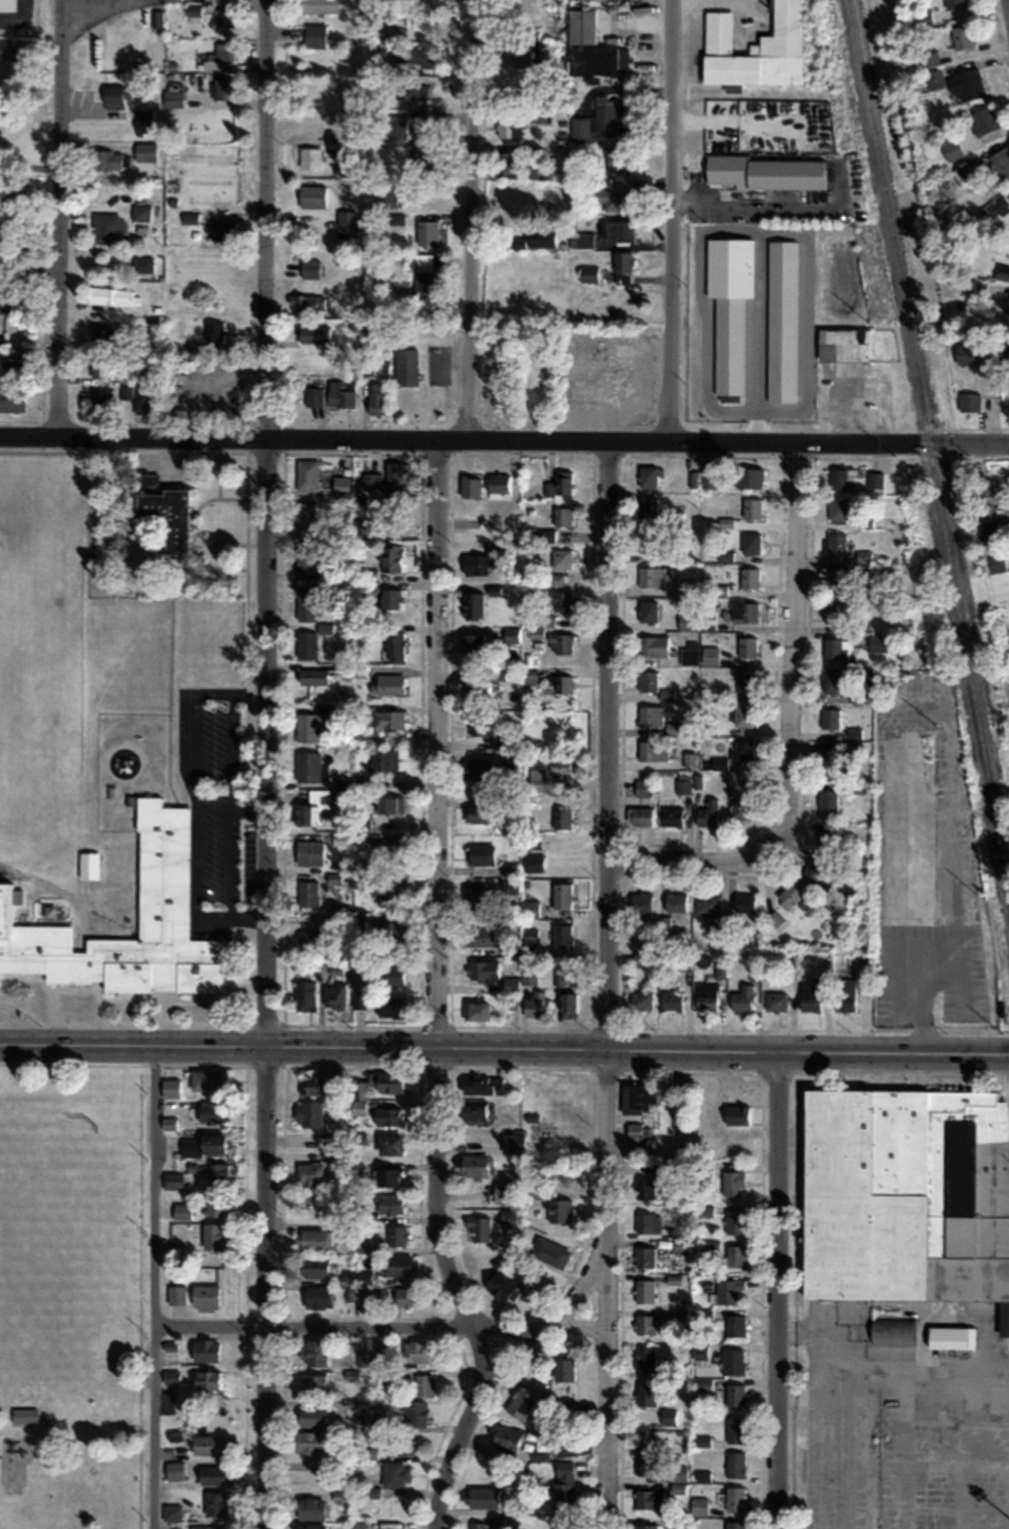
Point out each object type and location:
building: (954, 3)
building: (6, 5)
building: (318, 6)
road: (1007, 8)
building: (192, 13)
building: (156, 18)
building: (225, 18)
power tower: (815, 18)
building: (922, 18)
building: (580, 26)
building: (314, 35)
building: (960, 37)
building: (751, 49)
building: (8, 50)
building: (517, 52)
building: (416, 55)
building: (217, 56)
building: (929, 59)
building: (597, 60)
building: (956, 84)
building: (221, 88)
building: (415, 92)
building: (114, 97)
building: (172, 98)
building: (604, 115)
building: (391, 117)
building: (984, 120)
building: (144, 121)
building: (509, 127)
building: (950, 149)
building: (4, 152)
power tower: (839, 152)
building: (145, 154)
building: (422, 157)
building: (309, 158)
building: (617, 158)
building: (108, 161)
building: (507, 161)
building: (1001, 162)
building: (763, 173)
building: (12, 192)
building: (311, 196)
building: (385, 199)
building: (615, 199)
building: (998, 208)
building: (141, 212)
road: (60, 217)
building: (396, 219)
road: (468, 219)
road: (669, 219)
building: (346, 224)
building: (106, 229)
building: (221, 230)
building: (615, 231)
building: (426, 232)
building: (535, 239)
building: (580, 239)
building: (728, 268)
building: (310, 269)
building: (619, 269)
building: (1002, 272)
building: (587, 274)
building: (423, 276)
building: (976, 292)
building: (112, 297)
building: (4, 301)
building: (302, 303)
building: (1007, 308)
power tower: (869, 323)
building: (214, 332)
building: (313, 334)
building: (104, 338)
building: (842, 344)
building: (1005, 353)
building: (975, 354)
building: (405, 366)
building: (102, 367)
building: (14, 368)
building: (341, 393)
building: (312, 396)
building: (536, 398)
building: (12, 399)
building: (144, 399)
building: (375, 399)
building: (102, 402)
building: (969, 402)
road: (504, 439)
street lamp: (43, 448)
railway: (929, 451)
street lamp: (586, 454)
street lamp: (774, 454)
power tower: (892, 455)
street lamp: (278, 456)
street lamp: (447, 457)
building: (307, 474)
building: (394, 474)
building: (649, 476)
building: (747, 477)
building: (702, 478)
building: (842, 478)
building: (874, 480)
building: (371, 481)
building: (498, 483)
building: (559, 483)
building: (340, 486)
building: (470, 486)
road: (246, 504)
building: (647, 506)
building: (751, 507)
building: (837, 508)
building: (561, 516)
building: (167, 518)
building: (306, 519)
road: (264, 521)
building: (361, 526)
building: (990, 528)
building: (646, 542)
building: (750, 542)
building: (835, 543)
building: (677, 553)
building: (305, 555)
building: (863, 556)
building: (391, 557)
building: (561, 557)
building: (480, 560)
building: (650, 576)
building: (749, 577)
building: (555, 578)
building: (835, 578)
building: (684, 585)
building: (390, 598)
building: (558, 599)
building: (306, 602)
building: (472, 604)
building: (647, 611)
building: (744, 612)
building: (833, 612)
building: (696, 620)
building: (508, 635)
road: (791, 639)
building: (877, 641)
building: (472, 642)
building: (559, 642)
building: (306, 644)
building: (393, 645)
building: (746, 645)
building: (652, 646)
building: (835, 646)
building: (688, 655)
building: (709, 655)
building: (497, 674)
building: (312, 676)
building: (527, 676)
building: (647, 680)
building: (745, 680)
building: (830, 681)
building: (563, 683)
building: (386, 684)
building: (474, 687)
building: (858, 693)
road: (248, 694)
building: (666, 694)
building: (649, 715)
building: (743, 715)
building: (829, 717)
building: (388, 718)
building: (312, 726)
power tower: (937, 726)
building: (673, 728)
building: (487, 734)
building: (652, 749)
building: (741, 749)
building: (383, 758)
building: (690, 760)
building: (828, 761)
building: (721, 763)
building: (308, 765)
building: (559, 765)
building: (476, 768)
building: (536, 779)
building: (697, 780)
building: (682, 782)
building: (642, 787)
road: (202, 795)
building: (388, 803)
building: (827, 803)
building: (312, 805)
building: (741, 807)
road: (248, 810)
building: (477, 812)
building: (707, 813)
parking lot: (215, 814)
building: (640, 815)
building: (670, 816)
building: (561, 818)
building: (349, 837)
building: (825, 837)
building: (531, 842)
building: (388, 848)
building: (309, 851)
building: (906, 851)
building: (479, 854)
building: (532, 862)
road: (696, 862)
building: (508, 869)
building: (817, 874)
building: (847, 880)
building: (509, 886)
building: (384, 888)
building: (308, 892)
building: (560, 894)
building: (788, 894)
building: (477, 897)
power tower: (980, 897)
building: (744, 901)
building: (640, 902)
building: (675, 902)
building: (162, 904)
building: (708, 904)
building: (529, 908)
road: (207, 915)
road: (249, 918)
road: (434, 918)
building: (648, 927)
building: (390, 929)
building: (310, 936)
building: (478, 936)
building: (562, 936)
building: (530, 940)
building: (640, 958)
building: (682, 962)
building: (302, 968)
building: (482, 969)
building: (388, 974)
building: (529, 976)
road: (606, 984)
building: (511, 992)
building: (843, 994)
building: (304, 995)
building: (705, 996)
building: (809, 997)
building: (336, 998)
building: (742, 998)
building: (640, 1000)
building: (671, 1000)
building: (774, 1001)
building: (534, 1003)
building: (567, 1003)
building: (388, 1006)
building: (475, 1010)
power tower: (1004, 1033)
road: (133, 1041)
road: (637, 1047)
building: (207, 1079)
building: (385, 1081)
building: (482, 1084)
building: (319, 1085)
building: (169, 1087)
building: (471, 1110)
building: (210, 1111)
building: (308, 1112)
building: (736, 1114)
building: (387, 1115)
building: (636, 1134)
building: (513, 1141)
building: (202, 1143)
building: (389, 1143)
building: (336, 1154)
building: (471, 1164)
building: (309, 1173)
building: (213, 1176)
building: (387, 1176)
building: (172, 1180)
building: (731, 1182)
building: (502, 1191)
building: (906, 1195)
building: (389, 1203)
building: (214, 1206)
building: (558, 1210)
building: (182, 1211)
building: (734, 1221)
building: (647, 1222)
building: (478, 1228)
building: (395, 1235)
building: (212, 1237)
building: (312, 1239)
building: (708, 1246)
building: (549, 1252)
building: (733, 1255)
building: (644, 1256)
building: (397, 1265)
building: (312, 1267)
building: (364, 1277)
road: (155, 1285)
road: (264, 1285)
building: (349, 1286)
building: (500, 1286)
building: (727, 1290)
road: (775, 1290)
building: (643, 1291)
building: (176, 1295)
building: (317, 1296)
building: (370, 1297)
building: (406, 1297)
building: (204, 1298)
building: (645, 1324)
road: (381, 1325)
building: (734, 1325)
building: (890, 1332)
building: (949, 1337)
building: (204, 1349)
building: (415, 1351)
building: (699, 1351)
building: (313, 1352)
building: (645, 1358)
building: (732, 1361)
building: (563, 1369)
road: (492, 1373)
building: (389, 1377)
building: (206, 1381)
building: (313, 1383)
building: (423, 1385)
building: (646, 1394)
building: (735, 1394)
building: (521, 1400)
building: (563, 1408)
building: (414, 1413)
building: (23, 1416)
building: (310, 1416)
building: (668, 1416)
building: (541, 1423)
building: (735, 1429)
building: (505, 1438)
building: (308, 1441)
building: (207, 1444)
building: (397, 1445)
building: (735, 1464)
building: (658, 1468)
building: (174, 1470)
building: (213, 1474)
building: (395, 1474)
building: (562, 1484)
building: (372, 1493)
building: (339, 1495)
building: (480, 1497)
building: (735, 1498)
building: (649, 1499)
building: (216, 1502)
building: (698, 1506)
building: (309, 1508)
building: (172, 1512)
building: (679, 1524)
building: (735, 1524)
building: (358, 1525)

